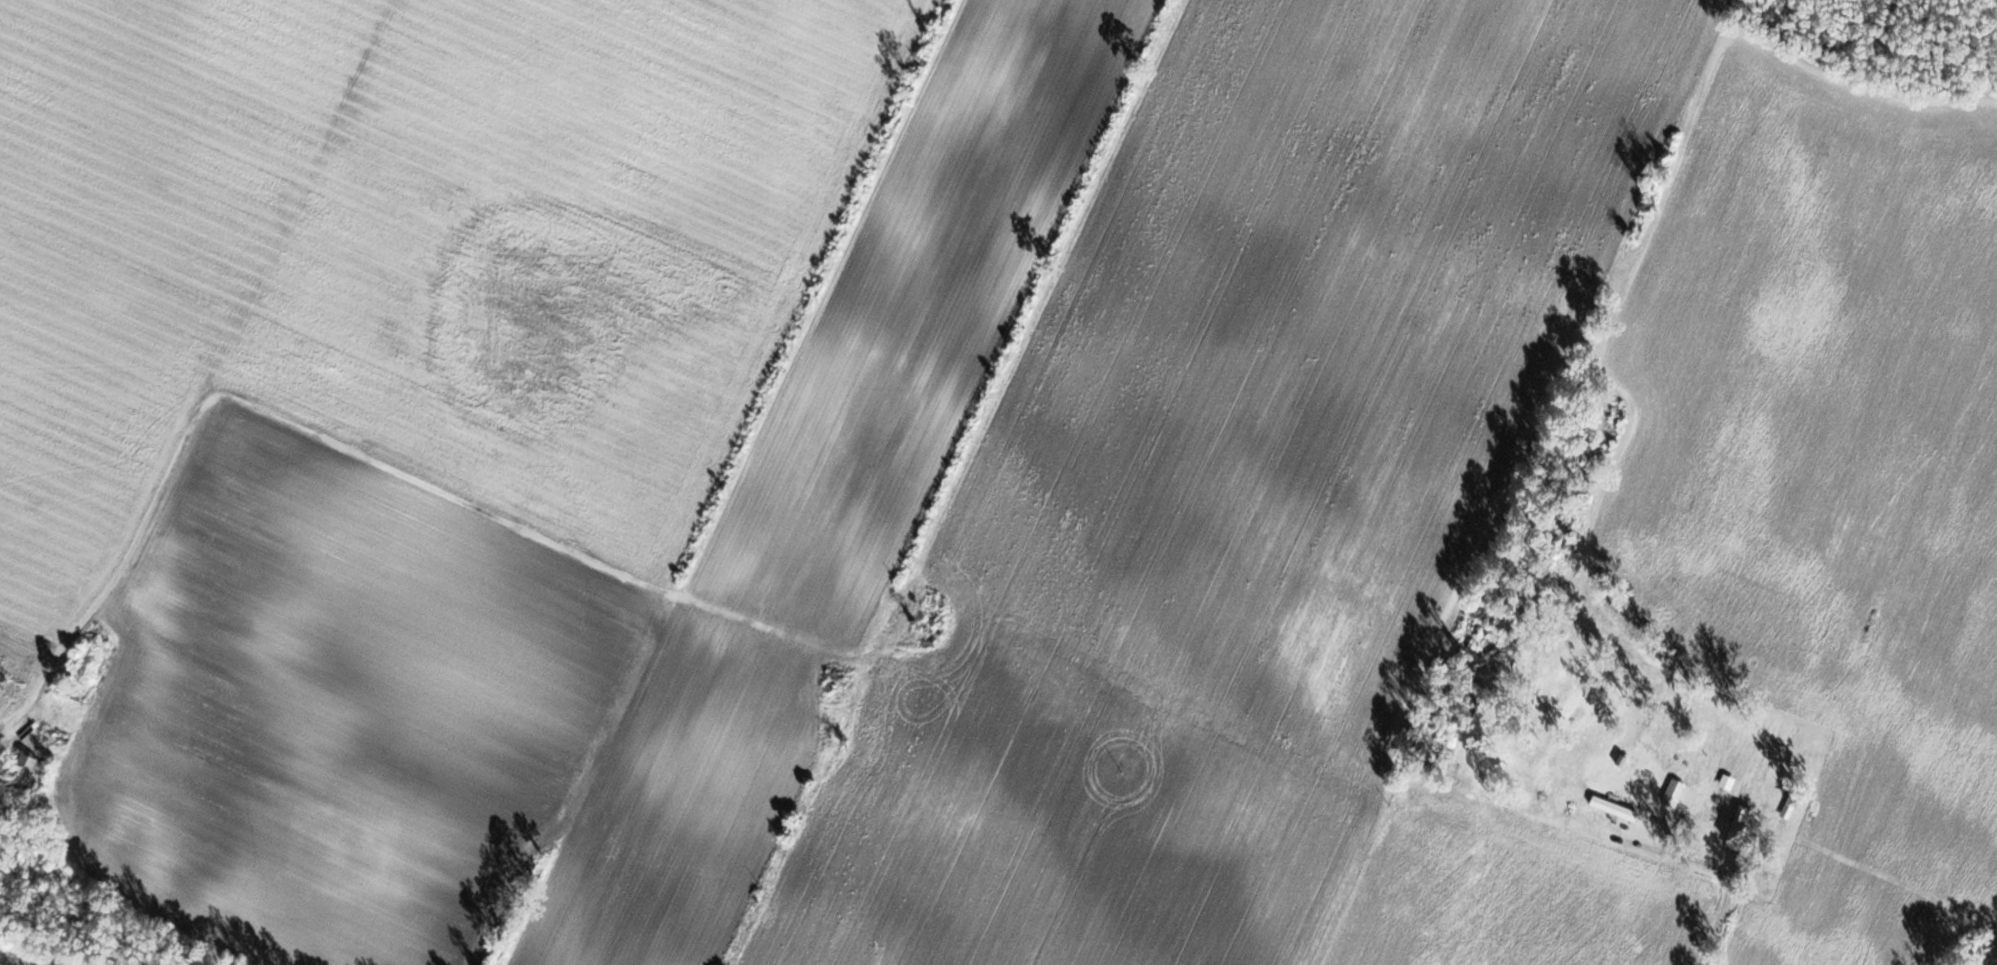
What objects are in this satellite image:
building: (46, 728)
building: (27, 762)
building: (1675, 790)
building: (1789, 807)
building: (1740, 825)
road: (1745, 927)

